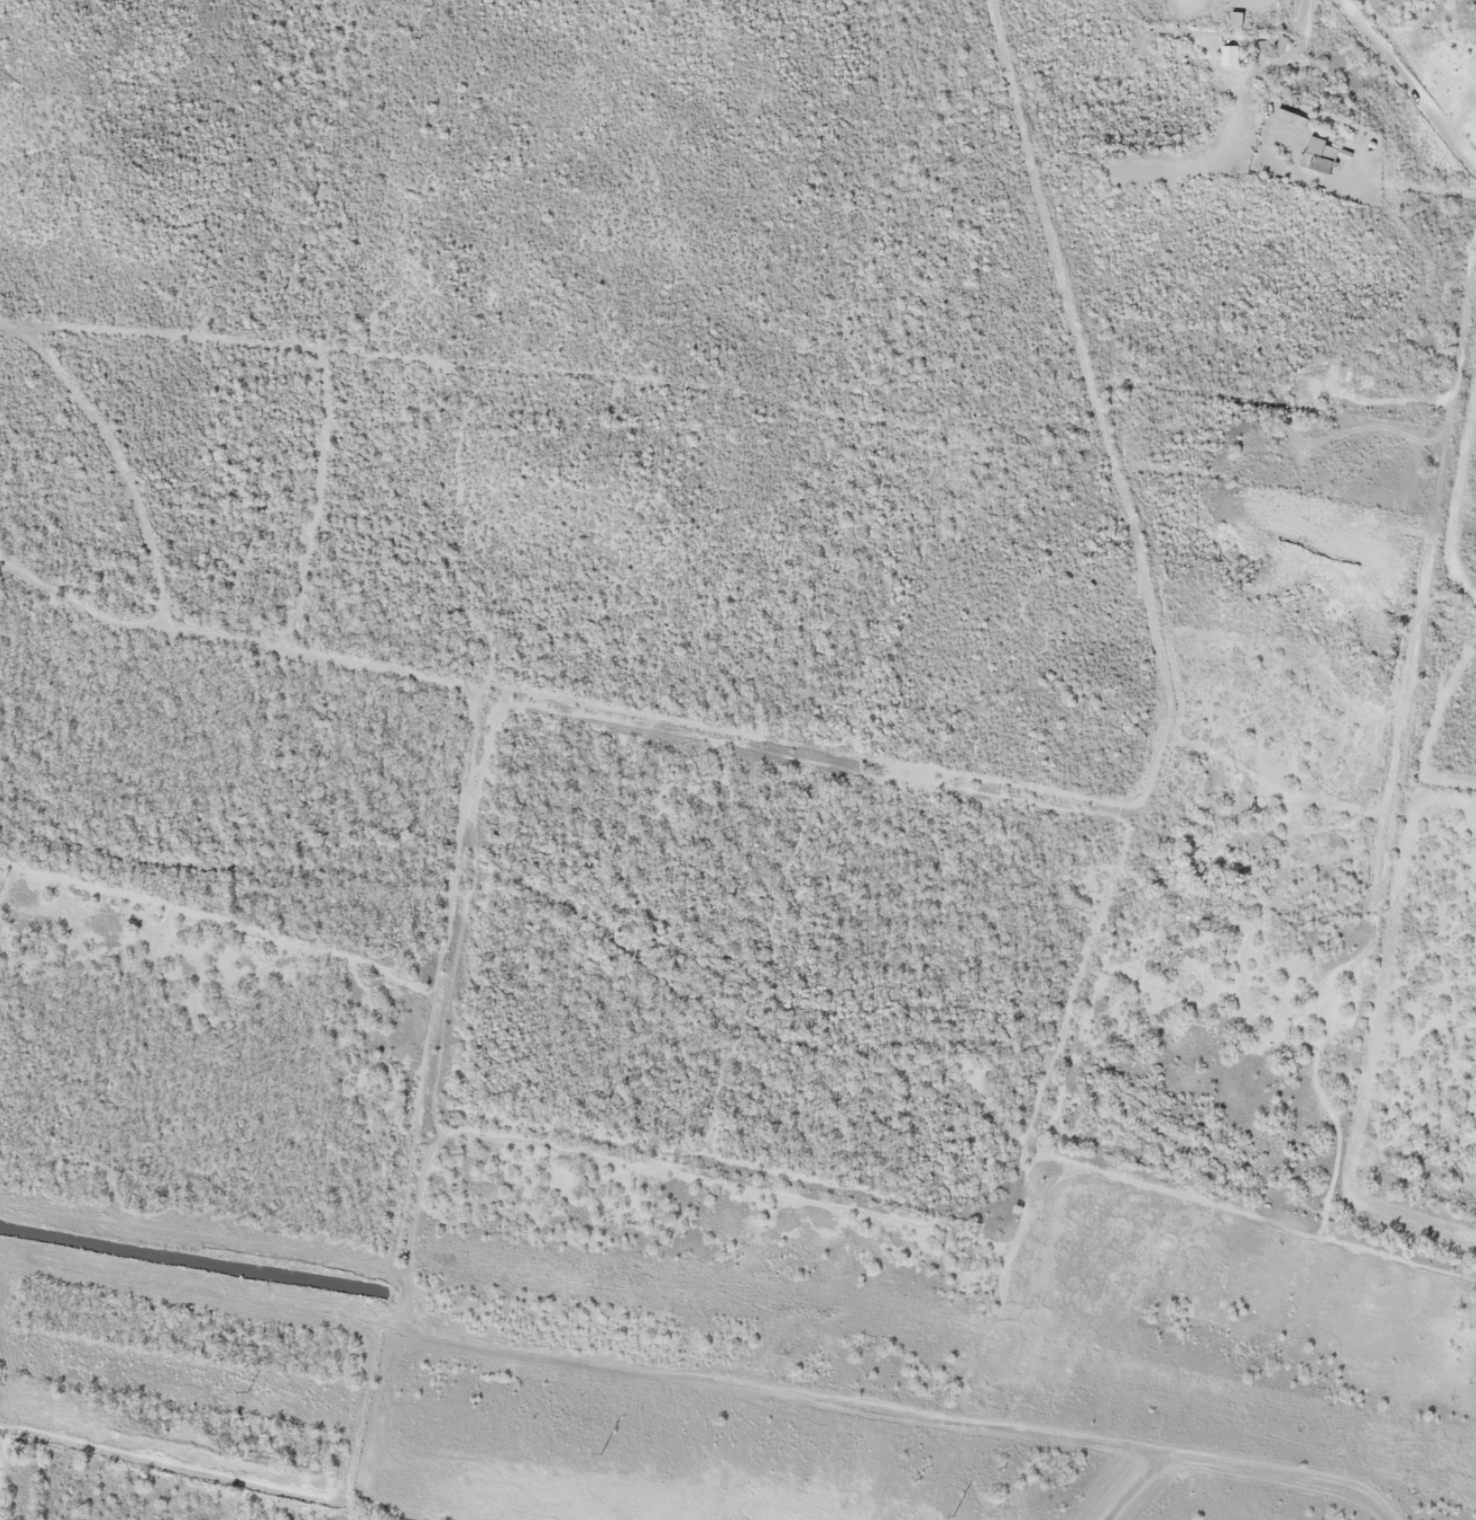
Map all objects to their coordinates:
building: (1227, 54)
road: (1405, 85)
building: (1206, 914)

